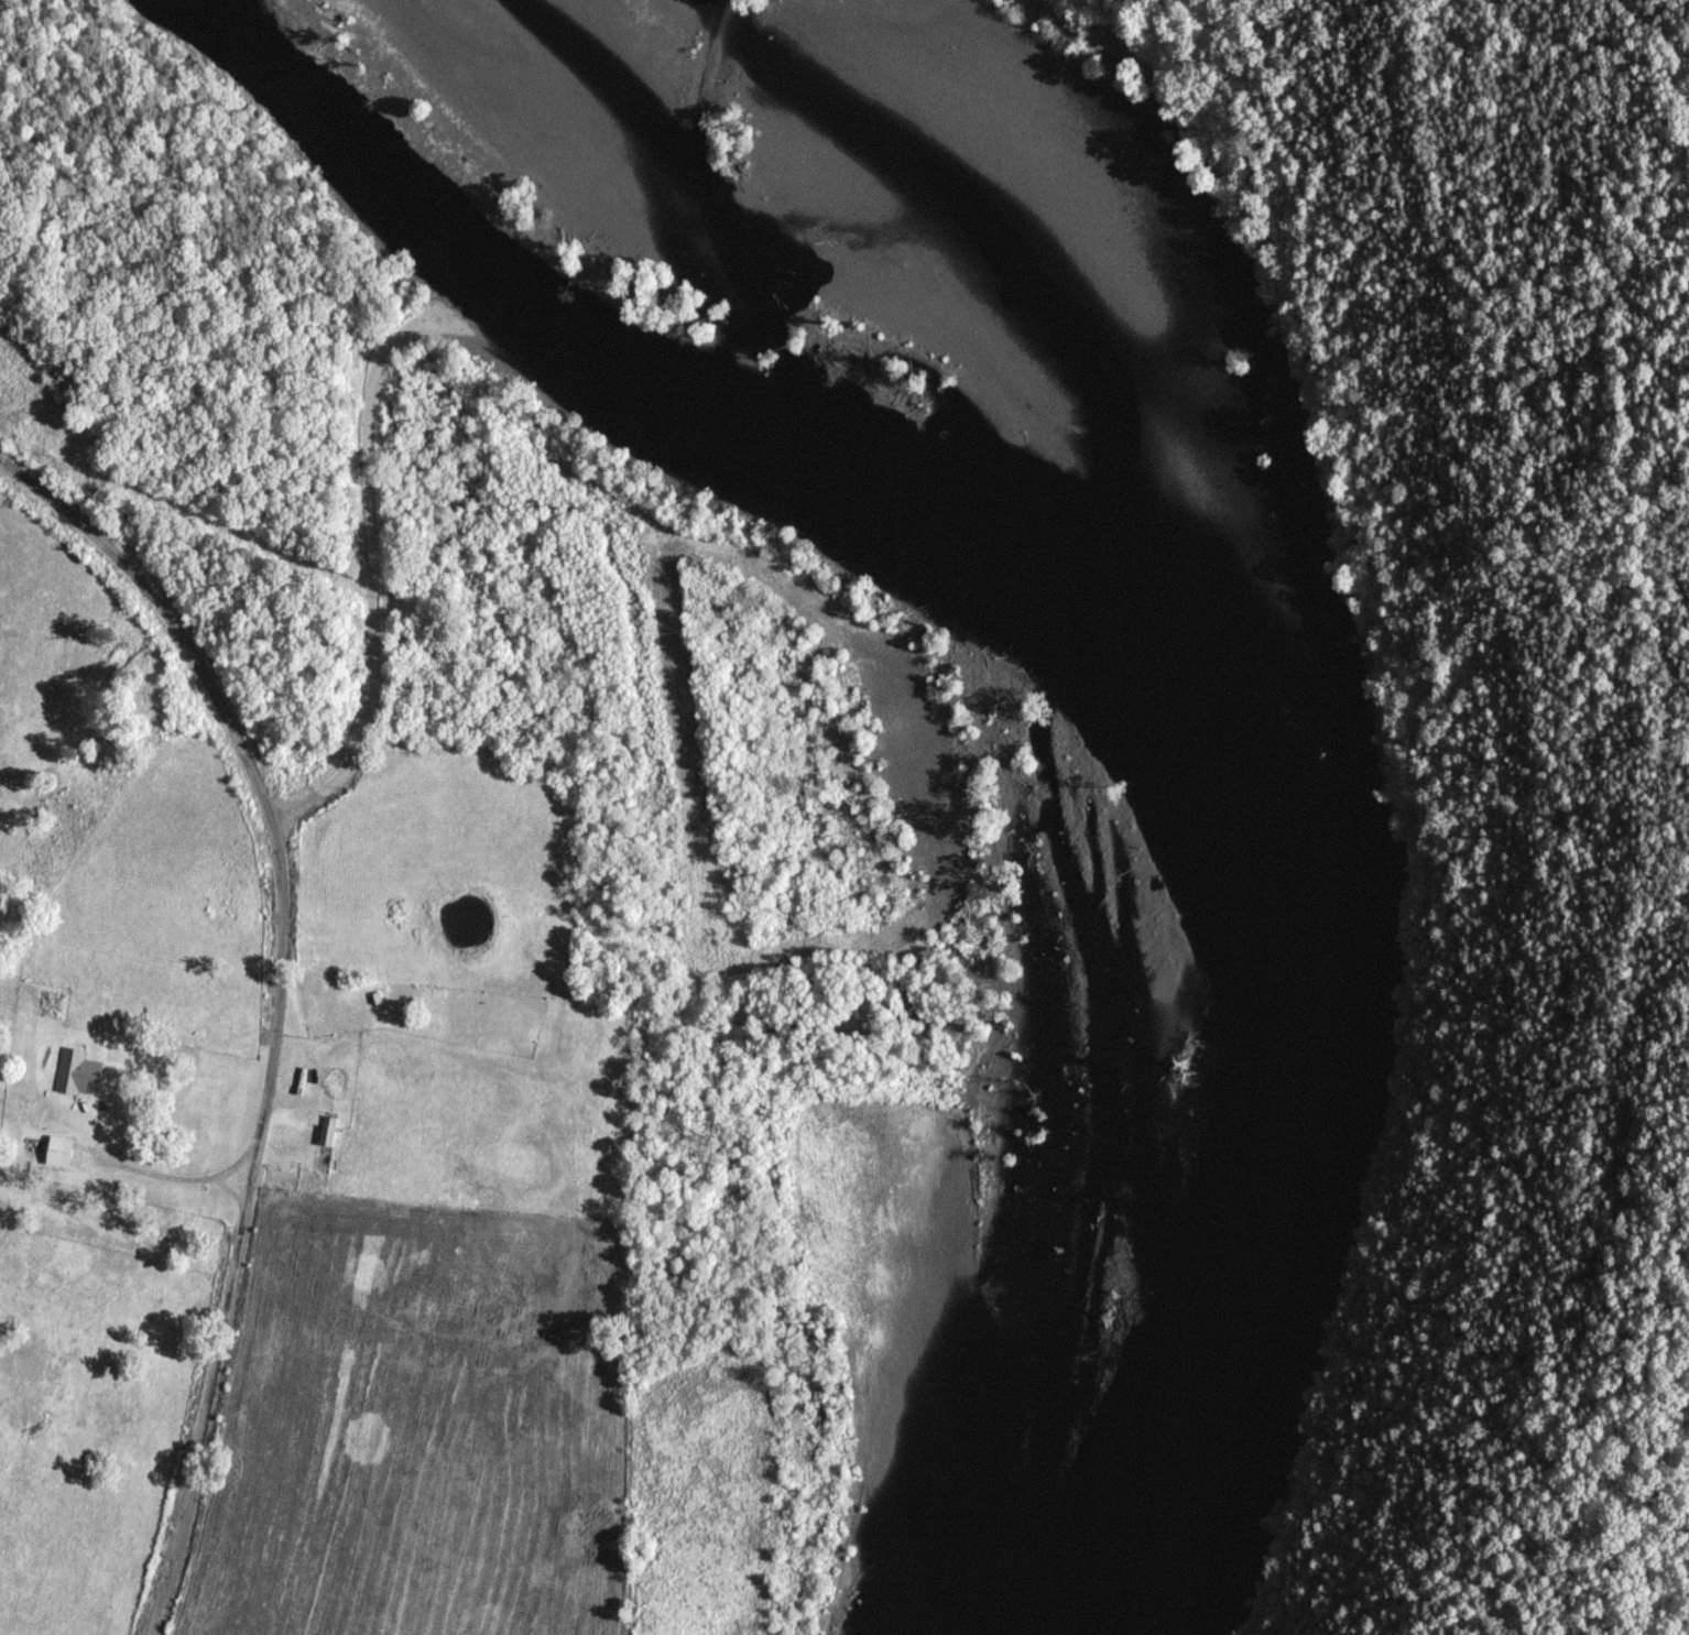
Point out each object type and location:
road: (708, 192)
road: (368, 386)
road: (771, 406)
road: (137, 688)
building: (78, 1072)
building: (328, 1132)
building: (59, 1151)
road: (172, 1177)
road: (220, 1190)
road: (230, 1234)

